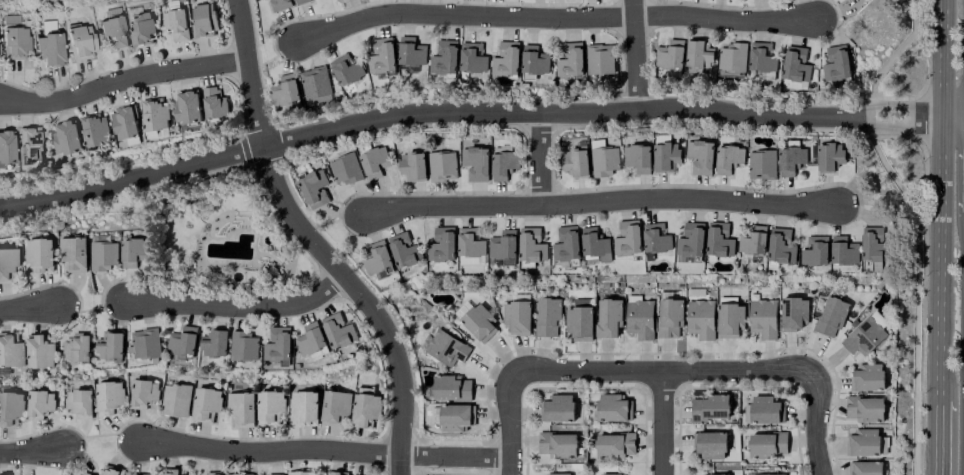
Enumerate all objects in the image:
building: (299, 1)
building: (278, 4)
road: (558, 16)
building: (202, 20)
building: (175, 23)
building: (141, 27)
building: (113, 32)
building: (79, 41)
building: (13, 42)
building: (49, 49)
building: (411, 51)
road: (638, 54)
building: (669, 54)
building: (698, 55)
building: (381, 56)
building: (732, 56)
building: (444, 57)
building: (472, 57)
building: (761, 57)
building: (569, 58)
building: (506, 59)
building: (600, 59)
building: (534, 60)
building: (835, 63)
building: (795, 64)
building: (346, 69)
road: (123, 81)
building: (315, 85)
building: (284, 90)
building: (214, 103)
building: (186, 106)
road: (476, 113)
building: (154, 115)
building: (124, 123)
building: (95, 130)
building: (66, 137)
building: (29, 142)
building: (5, 145)
building: (664, 156)
building: (699, 156)
building: (828, 156)
building: (636, 157)
building: (726, 158)
road: (544, 159)
building: (791, 159)
building: (604, 160)
building: (373, 161)
building: (574, 161)
building: (474, 162)
building: (502, 164)
building: (760, 164)
building: (442, 165)
building: (412, 166)
building: (344, 168)
building: (313, 187)
road: (940, 197)
road: (606, 202)
building: (627, 237)
building: (656, 238)
building: (690, 239)
building: (718, 240)
building: (752, 240)
building: (566, 243)
building: (872, 243)
road: (314, 244)
building: (441, 244)
building: (471, 244)
building: (503, 244)
building: (595, 244)
building: (531, 245)
building: (780, 246)
building: (403, 250)
building: (843, 250)
building: (132, 251)
building: (814, 251)
building: (38, 253)
building: (72, 253)
building: (103, 255)
building: (376, 255)
building: (7, 265)
road: (239, 305)
road: (30, 309)
building: (793, 312)
building: (830, 315)
building: (547, 316)
building: (516, 317)
building: (607, 317)
building: (668, 317)
building: (762, 317)
building: (699, 318)
building: (728, 318)
building: (578, 319)
building: (639, 319)
building: (475, 320)
building: (338, 330)
building: (863, 336)
building: (310, 339)
building: (183, 341)
building: (145, 343)
building: (214, 343)
building: (277, 344)
building: (244, 345)
building: (110, 346)
building: (77, 347)
building: (445, 347)
building: (11, 350)
building: (40, 351)
road: (663, 370)
building: (867, 377)
building: (451, 387)
building: (143, 393)
building: (108, 397)
building: (174, 400)
building: (78, 402)
building: (38, 403)
building: (205, 403)
building: (268, 404)
building: (709, 406)
building: (10, 407)
building: (303, 407)
building: (334, 407)
building: (611, 407)
building: (240, 408)
building: (556, 408)
building: (864, 408)
building: (365, 409)
building: (764, 409)
building: (454, 417)
road: (662, 422)
road: (814, 422)
road: (510, 423)
road: (937, 435)
building: (863, 441)
building: (557, 444)
building: (766, 444)
building: (614, 445)
building: (710, 445)
road: (324, 450)
road: (33, 452)
building: (864, 468)
building: (111, 470)
building: (171, 471)
building: (301, 472)
building: (84, 473)
building: (213, 473)
building: (3, 474)
building: (138, 474)
building: (240, 474)
building: (273, 474)
building: (335, 474)
building: (557, 474)
building: (608, 474)
building: (714, 474)
building: (769, 474)

